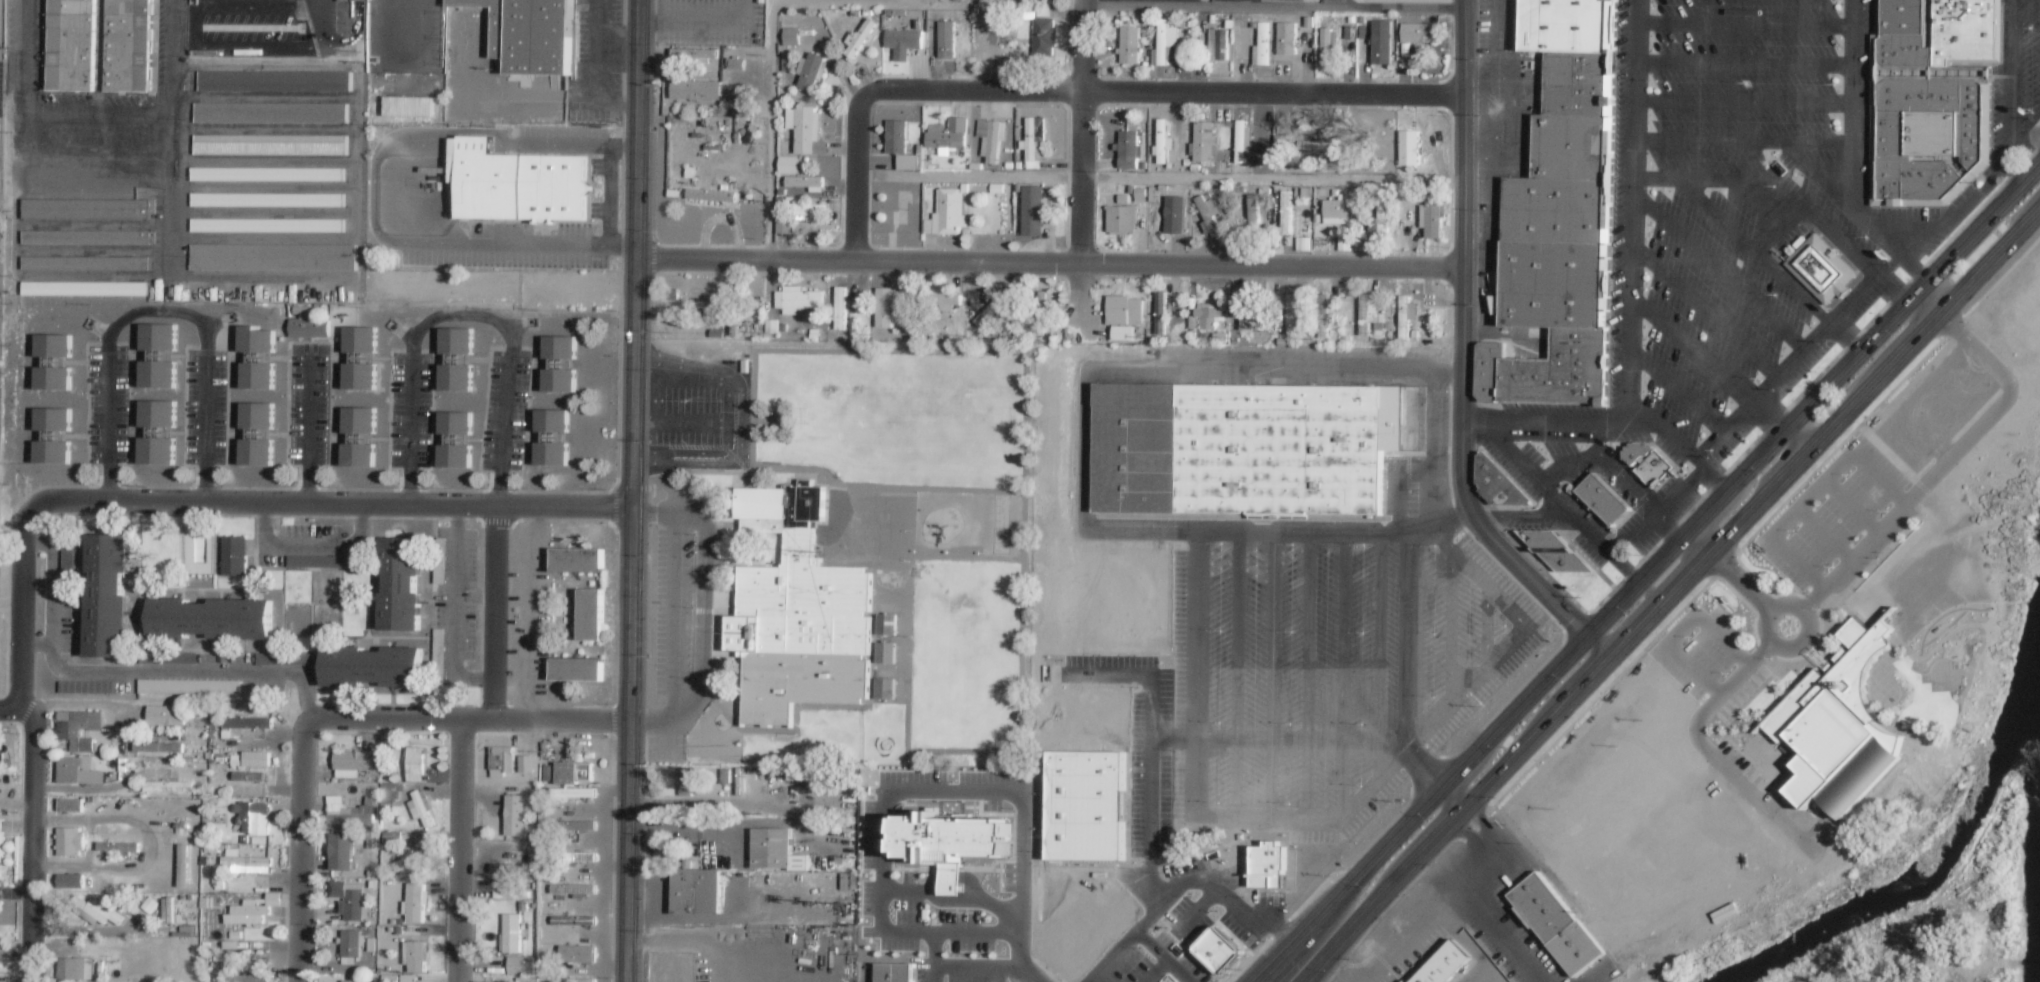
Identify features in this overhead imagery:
building: (352, 1)
building: (1008, 11)
building: (529, 34)
building: (1415, 36)
building: (791, 39)
building: (904, 39)
building: (1044, 40)
building: (859, 41)
building: (1287, 41)
building: (71, 45)
building: (127, 45)
building: (943, 46)
building: (1163, 46)
building: (1217, 46)
building: (1383, 46)
building: (1124, 48)
building: (1262, 48)
building: (1327, 50)
building: (1420, 52)
building: (694, 57)
building: (811, 74)
building: (275, 84)
building: (695, 93)
road: (1081, 93)
building: (1934, 97)
building: (407, 106)
building: (272, 115)
building: (803, 129)
building: (894, 141)
building: (944, 141)
building: (989, 142)
building: (1127, 144)
building: (1162, 144)
building: (1281, 144)
building: (1204, 145)
building: (1242, 145)
building: (1033, 146)
building: (272, 148)
building: (1325, 149)
building: (1405, 154)
road: (1083, 163)
building: (909, 165)
building: (787, 167)
building: (269, 177)
building: (803, 183)
building: (515, 184)
building: (711, 196)
building: (270, 198)
building: (87, 207)
building: (901, 208)
building: (1340, 210)
building: (807, 211)
building: (1033, 211)
building: (947, 212)
building: (1166, 212)
building: (1209, 213)
building: (1253, 213)
building: (1285, 213)
building: (1381, 213)
building: (1432, 215)
building: (998, 217)
building: (1121, 217)
building: (1561, 217)
building: (269, 223)
building: (87, 236)
road: (636, 253)
building: (275, 256)
road: (1048, 260)
building: (86, 261)
building: (1821, 268)
building: (87, 287)
building: (797, 298)
building: (939, 298)
building: (886, 304)
building: (991, 307)
building: (839, 309)
building: (1043, 309)
building: (1124, 309)
building: (1160, 311)
building: (1290, 311)
building: (1244, 312)
building: (1286, 312)
building: (1367, 312)
building: (698, 313)
building: (1211, 313)
building: (1005, 314)
building: (1325, 314)
building: (1407, 314)
building: (307, 328)
building: (771, 328)
building: (158, 356)
road: (1461, 356)
building: (257, 358)
building: (360, 359)
building: (456, 360)
building: (53, 362)
road: (1980, 362)
building: (559, 365)
parking lot: (1933, 406)
building: (157, 433)
building: (257, 435)
building: (52, 436)
building: (359, 437)
building: (551, 438)
building: (1417, 439)
building: (455, 440)
building: (1243, 449)
road: (1956, 451)
road: (1944, 453)
building: (1647, 464)
building: (1496, 484)
road: (1812, 497)
building: (1603, 500)
road: (329, 502)
road: (1852, 508)
parking lot: (1829, 513)
road: (1824, 537)
building: (1550, 547)
building: (237, 555)
building: (580, 558)
building: (321, 562)
road: (1645, 567)
building: (404, 581)
road: (1739, 581)
building: (110, 592)
road: (1670, 592)
road: (20, 608)
road: (494, 610)
building: (589, 612)
building: (797, 615)
building: (214, 617)
road: (1807, 617)
building: (886, 626)
road: (1681, 630)
road: (1946, 637)
parking lot: (1698, 650)
building: (886, 654)
building: (264, 660)
building: (376, 665)
building: (577, 667)
road: (1946, 675)
road: (1970, 676)
parking lot: (1327, 677)
building: (86, 689)
building: (188, 689)
building: (885, 690)
parking lot: (1743, 692)
road: (1880, 694)
building: (218, 708)
road: (9, 710)
road: (474, 717)
building: (164, 718)
building: (250, 722)
building: (1837, 729)
building: (77, 731)
road: (1936, 741)
road: (627, 743)
building: (157, 750)
building: (419, 754)
building: (508, 754)
road: (1713, 758)
building: (256, 760)
building: (355, 760)
parking lot: (1739, 764)
building: (576, 771)
building: (247, 773)
building: (76, 774)
building: (248, 778)
building: (686, 783)
building: (168, 787)
road: (886, 791)
building: (391, 792)
building: (578, 796)
building: (802, 799)
building: (69, 806)
building: (423, 806)
building: (350, 811)
building: (518, 815)
building: (253, 821)
building: (575, 825)
road: (1816, 829)
building: (0, 837)
building: (395, 839)
road: (32, 842)
building: (68, 843)
building: (951, 843)
road: (299, 844)
building: (117, 848)
building: (359, 848)
road: (458, 850)
building: (776, 850)
building: (668, 853)
building: (340, 855)
building: (580, 856)
building: (417, 857)
building: (249, 861)
river: (1933, 861)
building: (512, 866)
building: (182, 867)
building: (69, 882)
building: (1262, 882)
road: (935, 886)
building: (574, 888)
building: (695, 893)
building: (514, 894)
building: (346, 898)
road: (975, 900)
building: (209, 902)
building: (418, 902)
building: (149, 906)
building: (255, 910)
building: (98, 911)
building: (1724, 915)
building: (579, 919)
building: (1556, 924)
road: (1143, 927)
building: (514, 932)
building: (354, 943)
building: (374, 944)
building: (258, 946)
building: (576, 951)
building: (418, 955)
road: (935, 957)
road: (1018, 958)
building: (1439, 964)
building: (523, 965)
road: (2021, 965)
road: (976, 968)
road: (1982, 968)
road: (1161, 969)
building: (73, 970)
building: (1215, 970)
building: (895, 973)
road: (1313, 975)
building: (249, 977)
building: (401, 978)
road: (868, 978)
building: (574, 980)
building: (354, 981)

